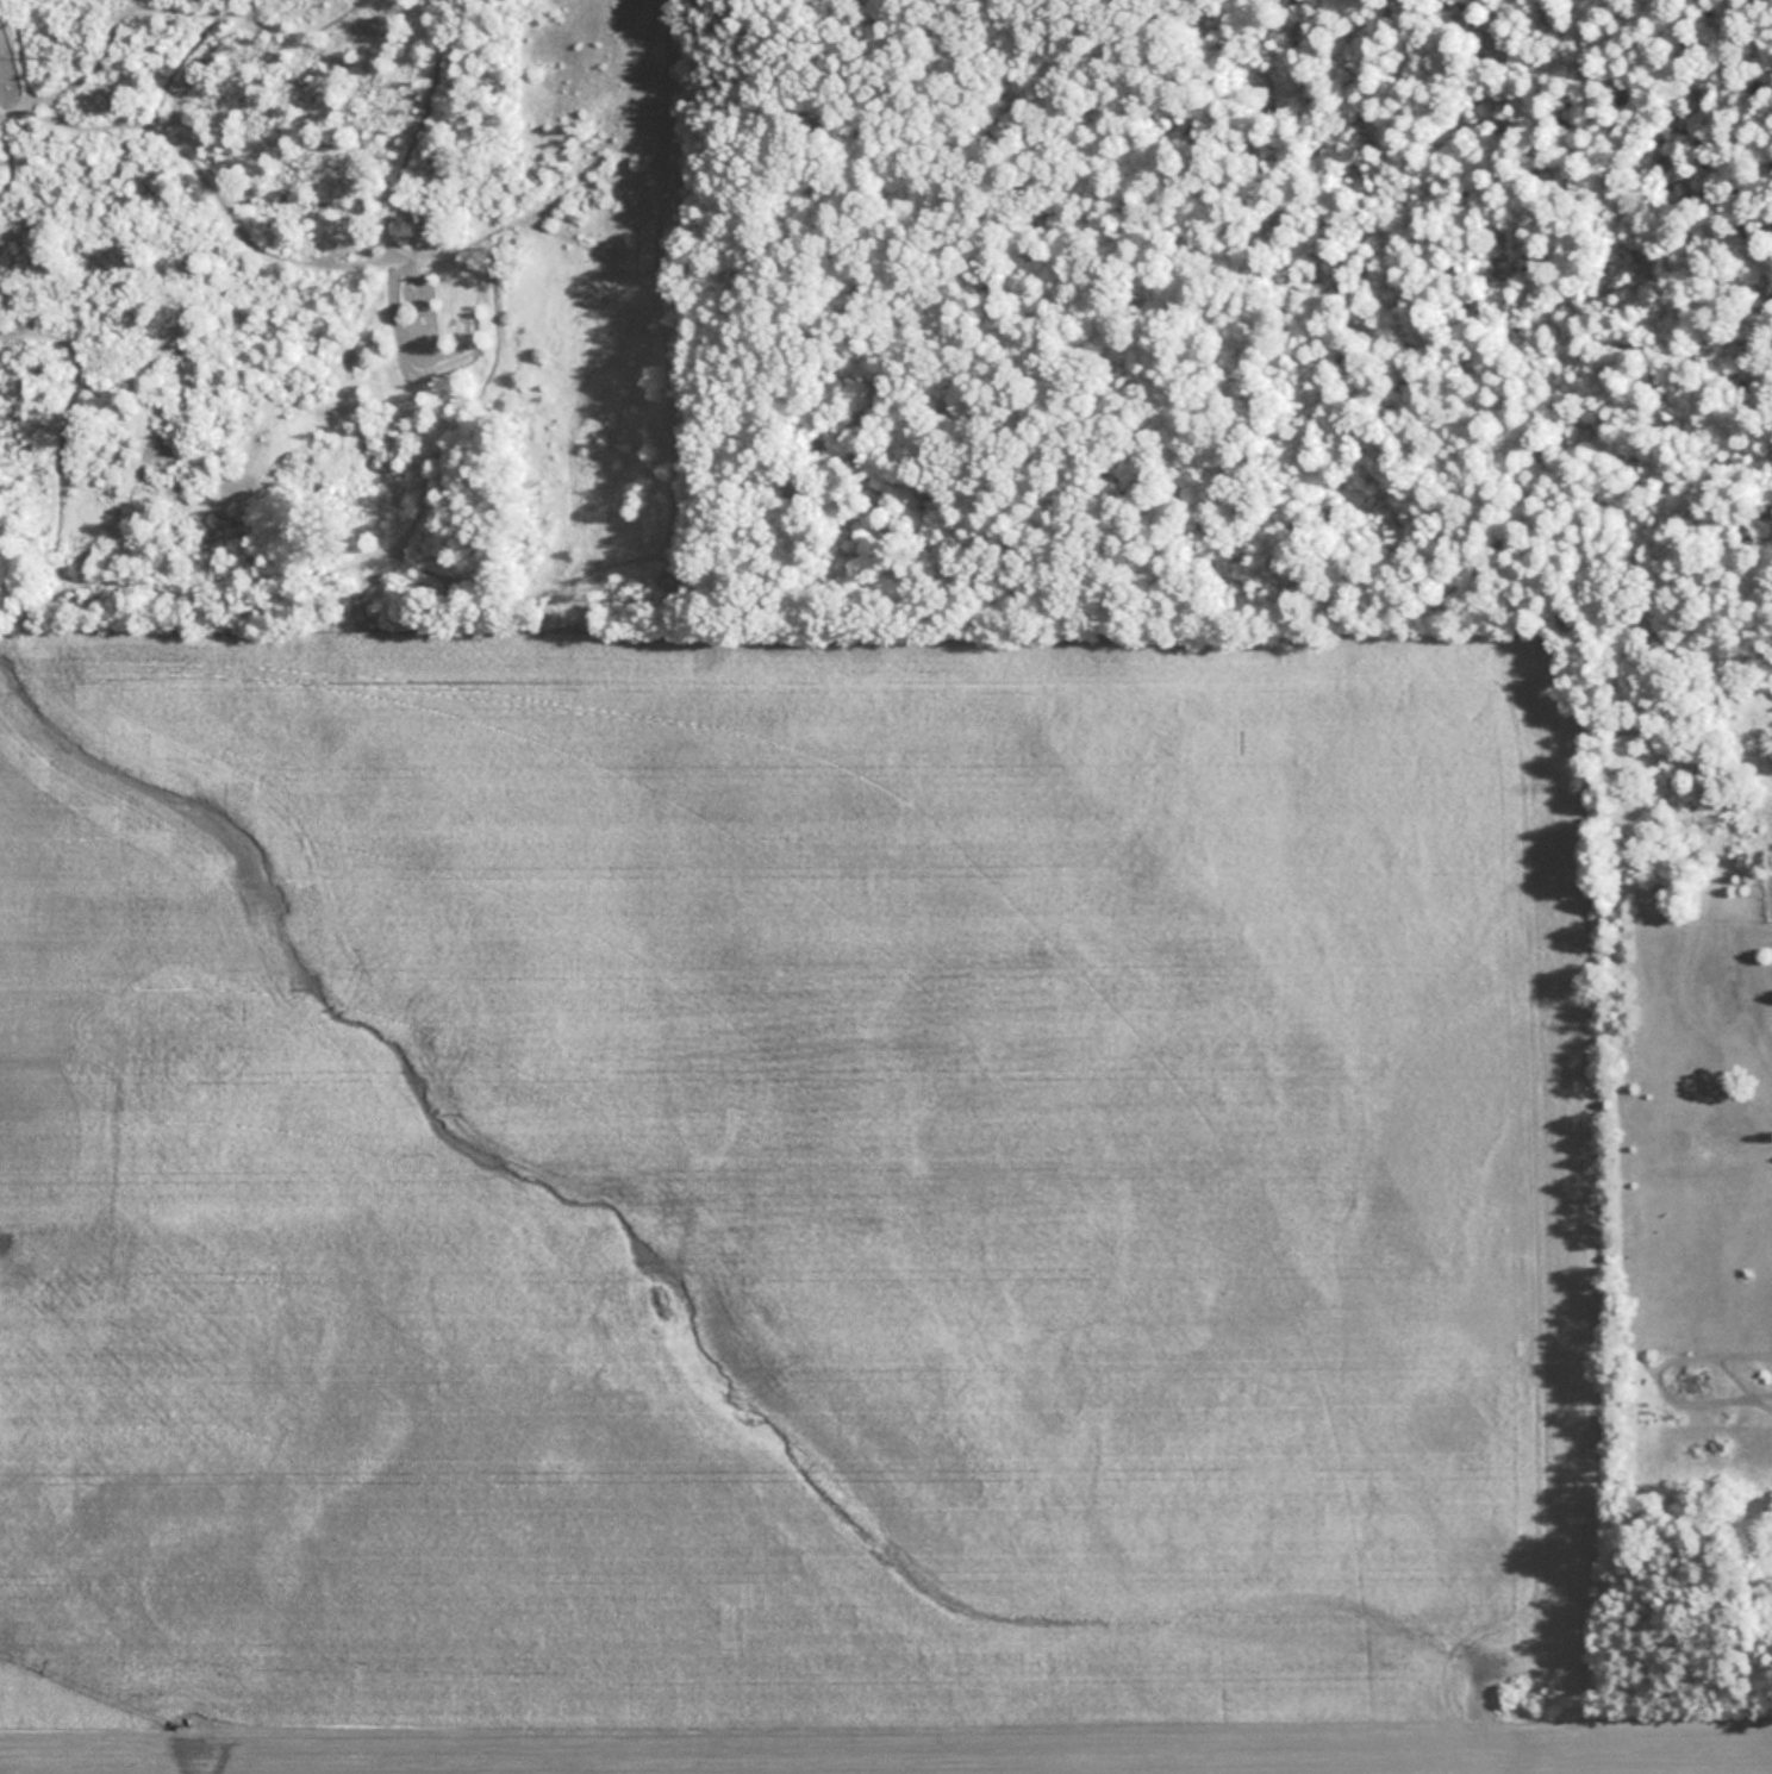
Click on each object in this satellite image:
building: (1771, 587)

